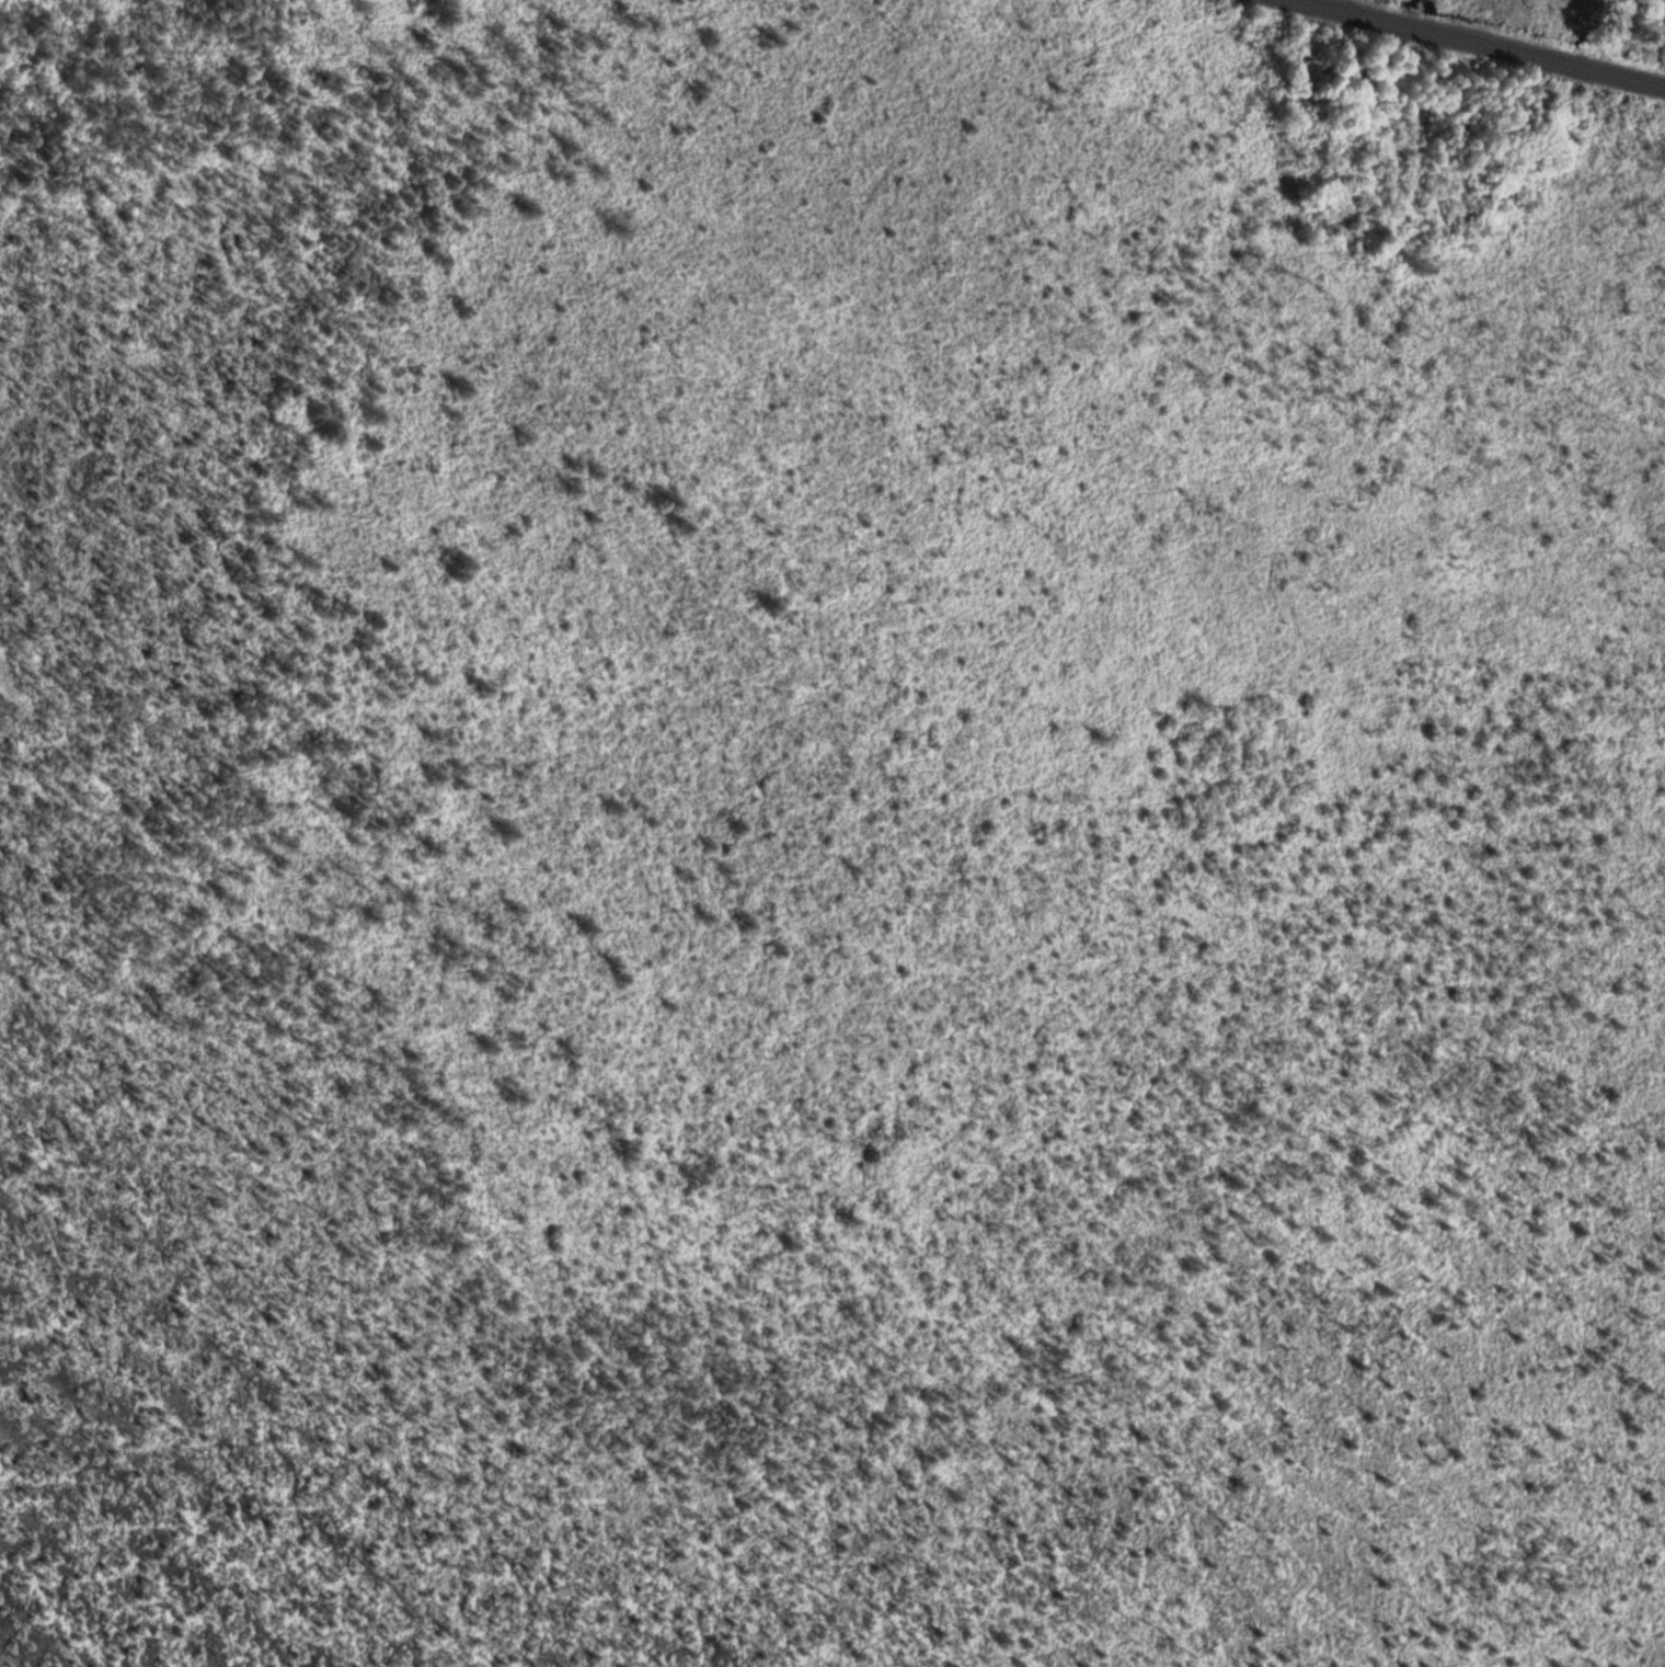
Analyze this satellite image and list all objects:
road: (1501, 38)

